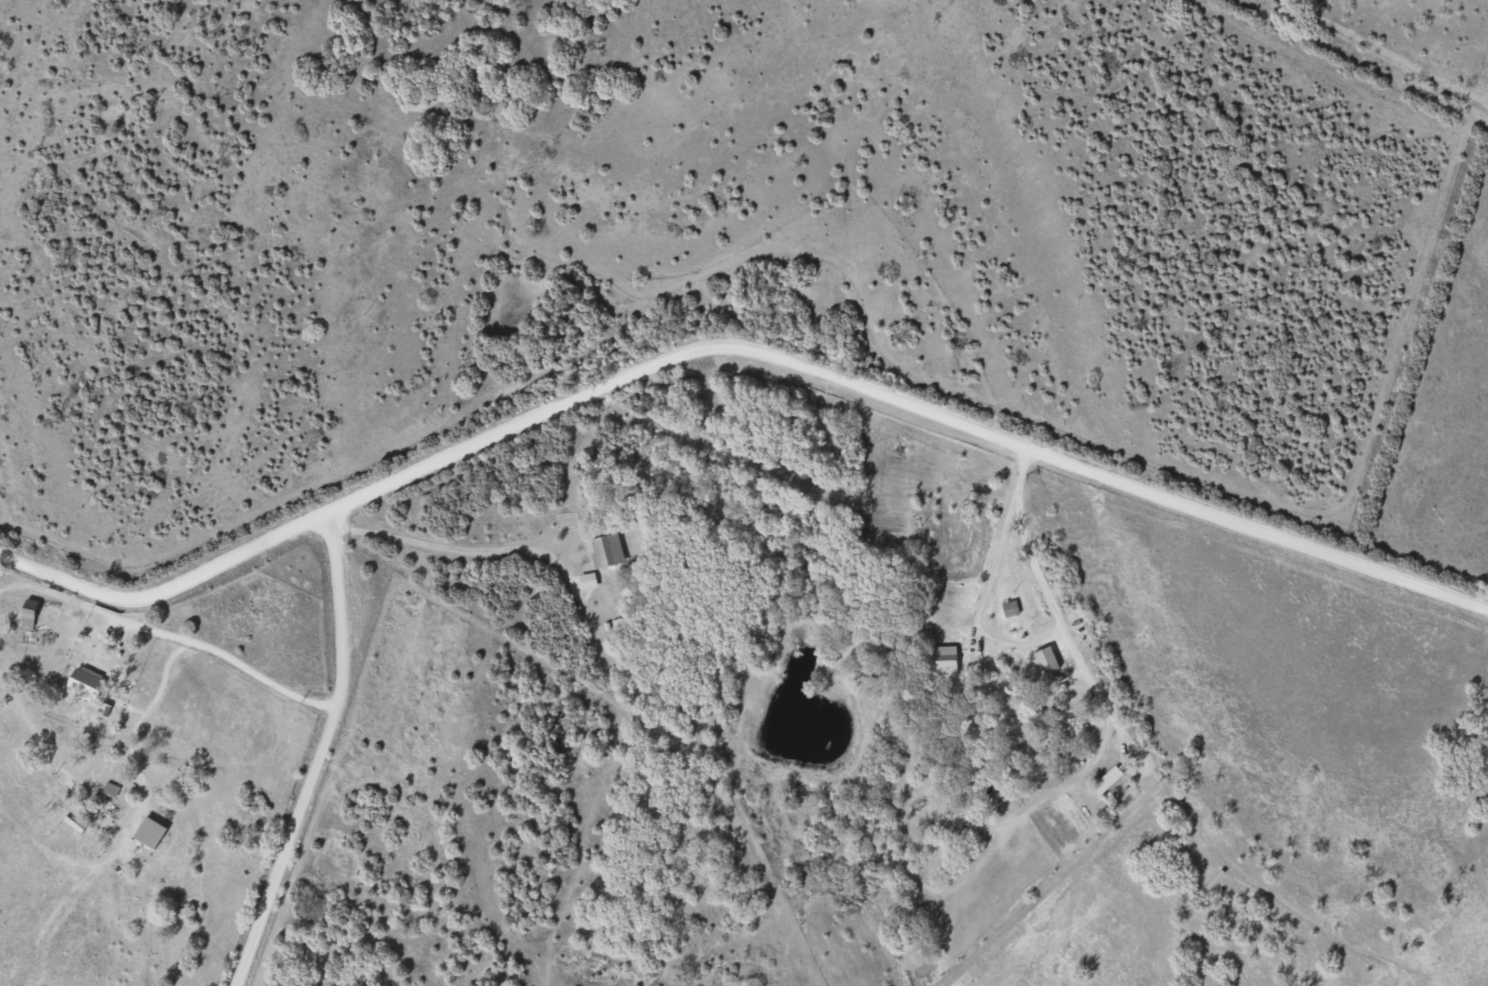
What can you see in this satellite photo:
railway: (1389, 48)
road: (733, 345)
building: (607, 550)
building: (1010, 607)
building: (30, 613)
building: (1034, 614)
building: (1046, 659)
building: (87, 681)
road: (314, 752)
building: (1109, 778)
building: (99, 799)

